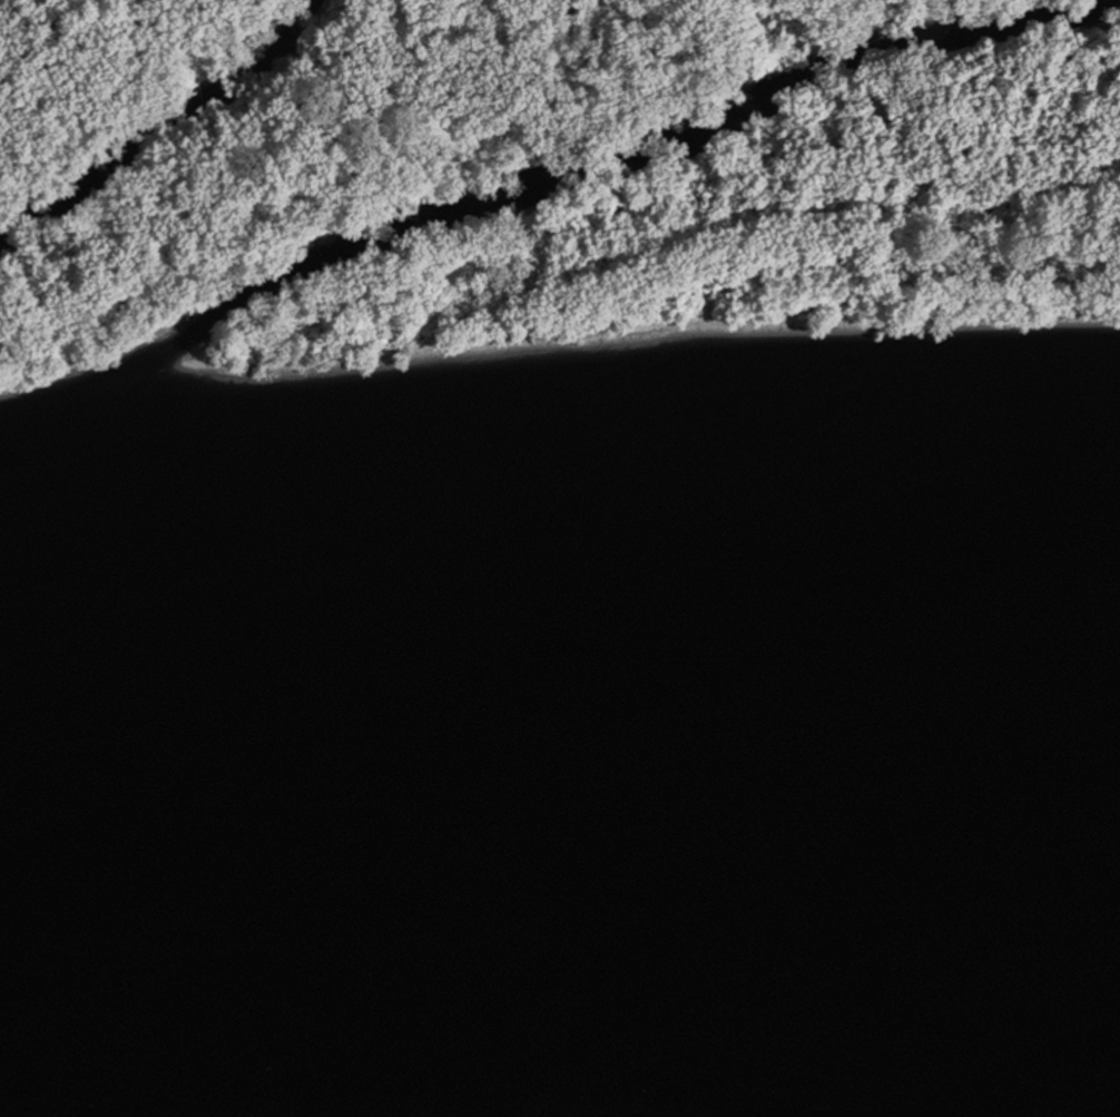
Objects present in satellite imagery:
building: (629, 753)
building: (694, 782)

